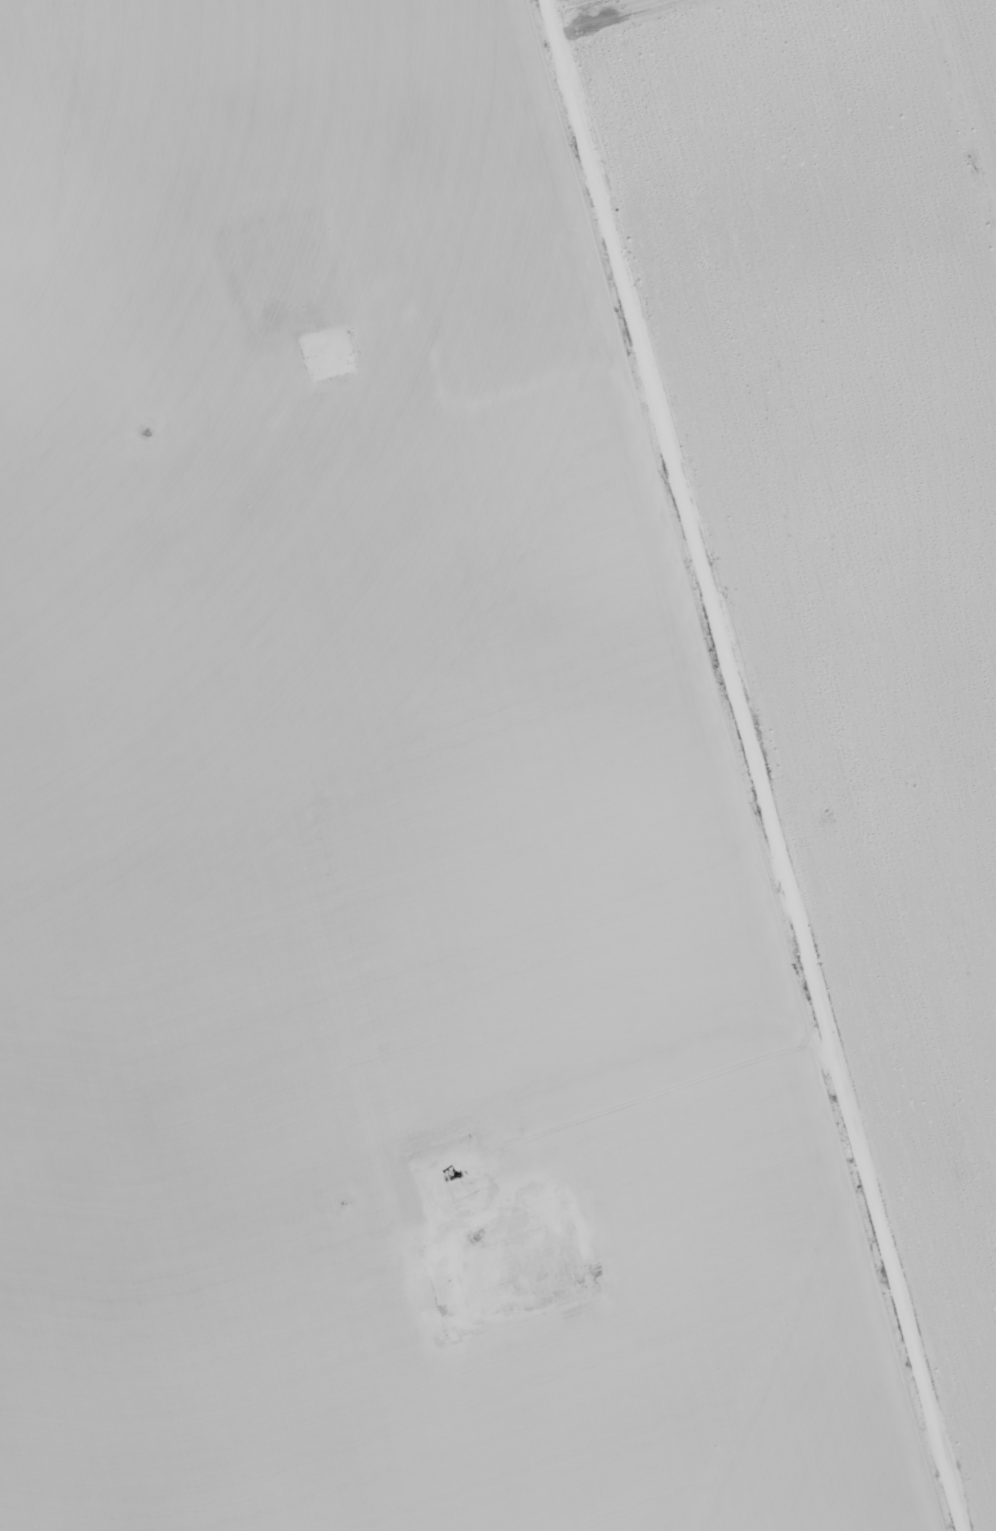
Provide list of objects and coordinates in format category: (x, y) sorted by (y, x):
road: (742, 769)

